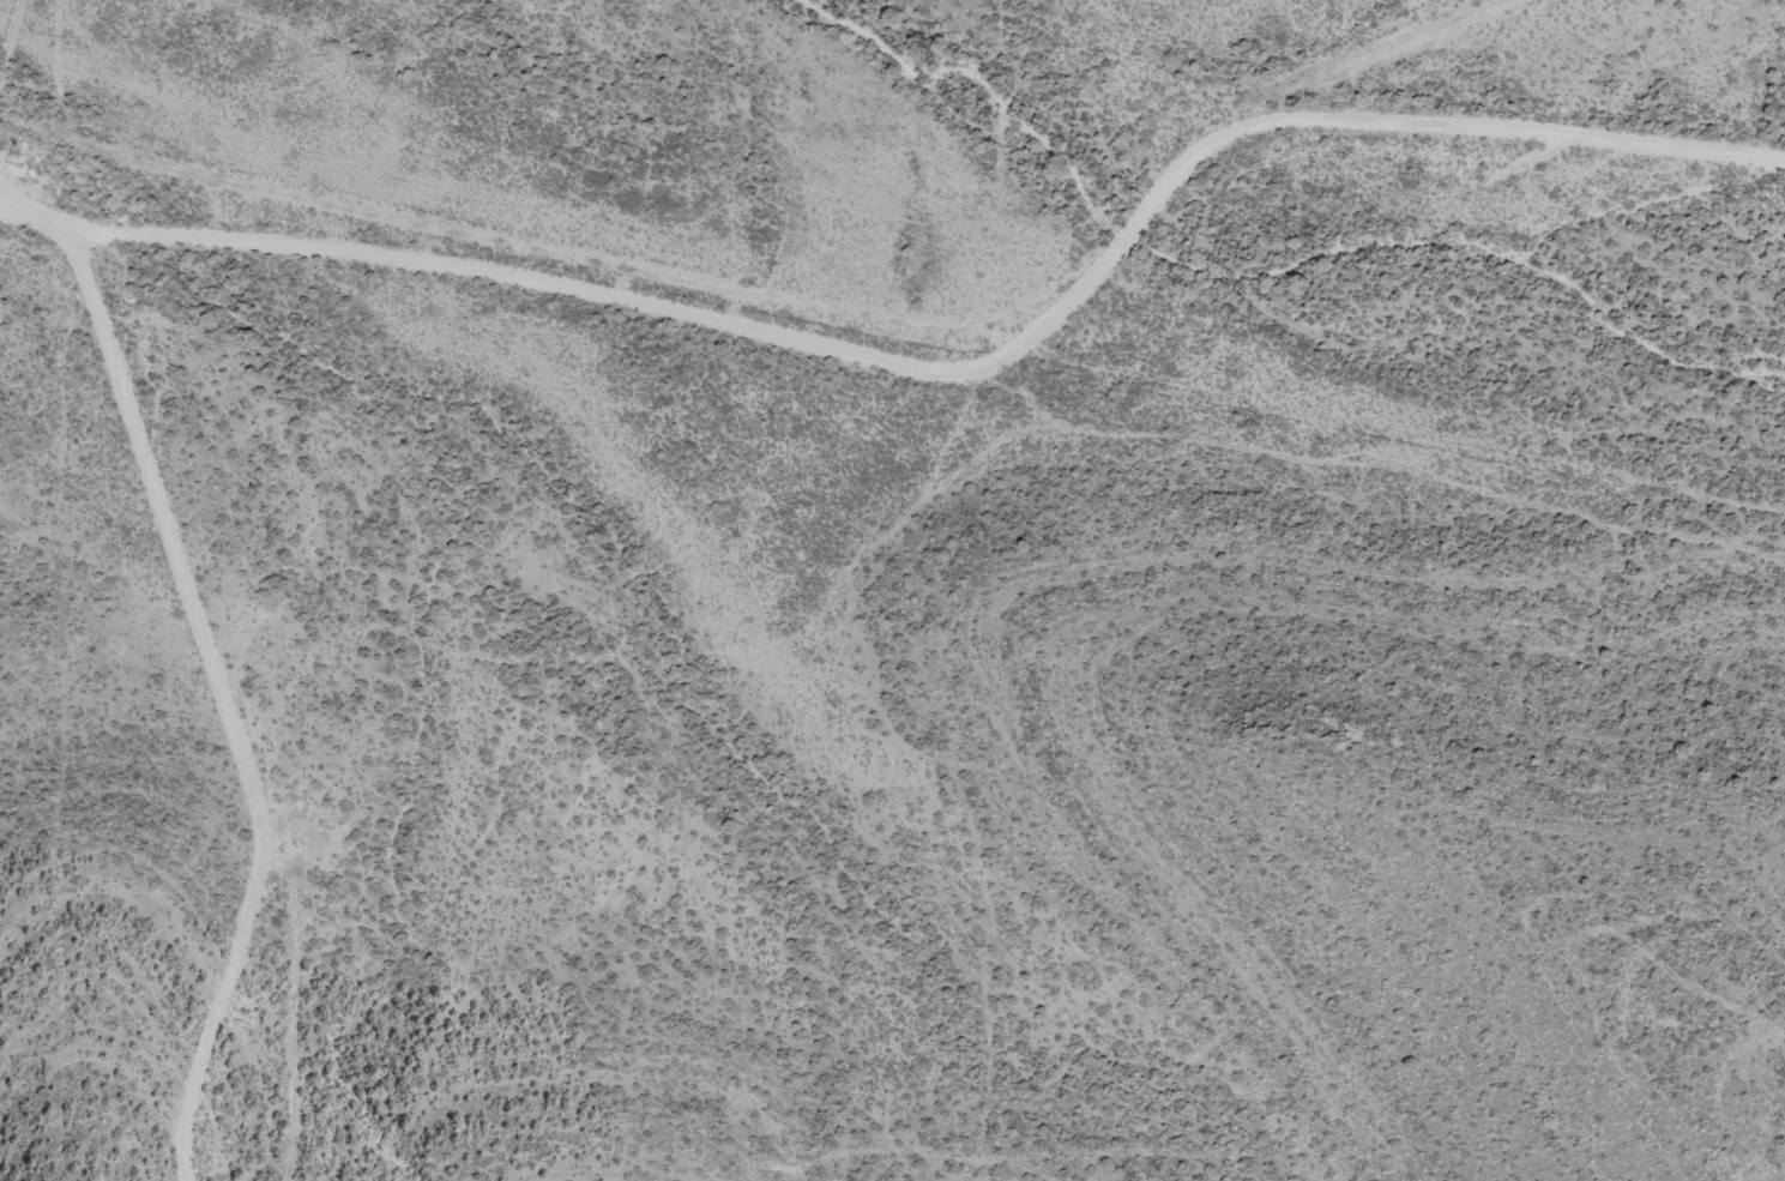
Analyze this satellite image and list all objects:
road: (1548, 197)
road: (836, 360)

